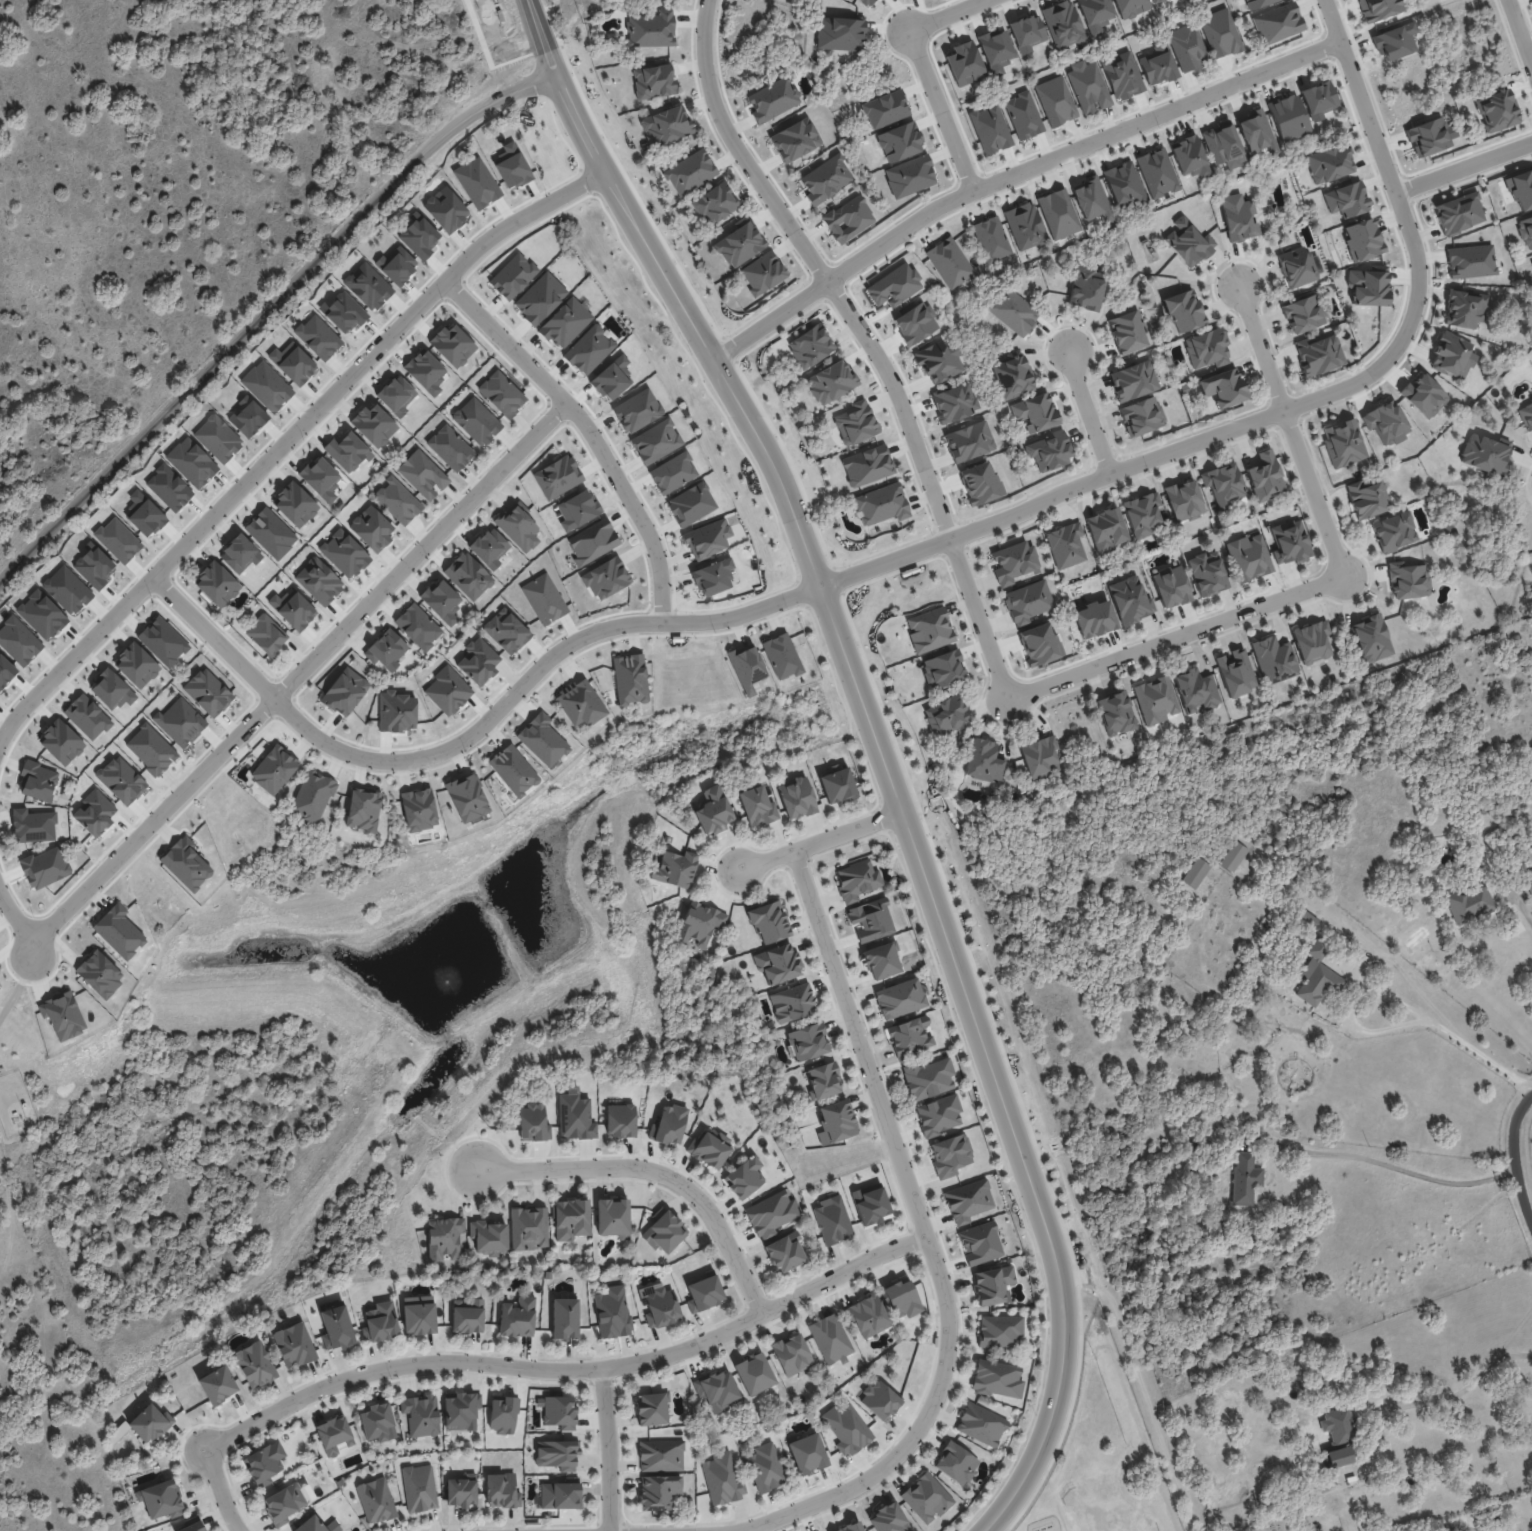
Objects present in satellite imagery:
building: (1156, 1)
building: (865, 2)
building: (1256, 3)
building: (1130, 7)
building: (1378, 9)
building: (1095, 15)
building: (1277, 23)
building: (1063, 24)
building: (652, 29)
road: (538, 31)
building: (840, 33)
building: (1027, 33)
building: (1220, 33)
road: (1517, 40)
building: (1395, 41)
building: (1187, 47)
building: (995, 50)
building: (964, 63)
building: (1156, 64)
road: (922, 73)
building: (1122, 75)
building: (653, 81)
building: (1088, 87)
building: (773, 99)
building: (1318, 99)
building: (1055, 100)
building: (885, 109)
building: (1496, 110)
building: (1023, 115)
building: (1288, 118)
building: (666, 126)
building: (989, 127)
building: (1256, 133)
building: (1428, 137)
building: (795, 140)
building: (899, 142)
building: (1223, 145)
road: (735, 151)
building: (1189, 157)
building: (1329, 163)
building: (511, 166)
road: (1464, 167)
building: (690, 172)
building: (1157, 173)
road: (1013, 174)
building: (910, 176)
building: (826, 179)
building: (477, 182)
road: (613, 185)
building: (1123, 186)
building: (1521, 189)
building: (1092, 199)
building: (1346, 199)
building: (715, 203)
building: (446, 209)
building: (1458, 212)
building: (1058, 213)
building: (1238, 218)
building: (848, 219)
building: (1025, 225)
building: (1525, 231)
building: (991, 239)
building: (1362, 240)
building: (1189, 242)
building: (739, 244)
building: (1470, 261)
building: (949, 262)
building: (1531, 263)
building: (1296, 267)
building: (762, 273)
building: (512, 276)
building: (368, 286)
building: (894, 286)
building: (1367, 287)
building: (1086, 288)
building: (540, 298)
building: (1464, 309)
road: (265, 310)
building: (1184, 310)
building: (1013, 311)
building: (1303, 314)
building: (565, 323)
building: (915, 323)
building: (1127, 332)
building: (318, 337)
road: (1262, 342)
building: (453, 344)
building: (810, 346)
building: (1206, 348)
building: (589, 349)
building: (1318, 354)
building: (1452, 355)
building: (939, 360)
building: (293, 363)
street lamp: (1364, 366)
building: (425, 371)
building: (1012, 376)
building: (612, 378)
building: (1133, 381)
building: (831, 382)
building: (266, 386)
building: (1222, 387)
building: (1531, 390)
building: (501, 393)
building: (396, 395)
building: (1424, 395)
building: (954, 402)
road: (1284, 404)
building: (637, 410)
road: (1088, 411)
building: (1035, 412)
building: (1526, 415)
building: (1141, 416)
building: (476, 421)
building: (855, 422)
building: (1385, 422)
building: (373, 425)
road: (588, 427)
road: (288, 432)
building: (218, 438)
building: (655, 441)
building: (969, 441)
building: (1343, 443)
building: (450, 447)
building: (347, 451)
building: (1048, 451)
building: (1485, 453)
building: (190, 462)
building: (867, 465)
building: (672, 473)
building: (423, 474)
building: (1265, 476)
building: (557, 477)
building: (320, 478)
building: (980, 483)
road: (931, 484)
building: (1224, 484)
road: (1313, 488)
building: (1367, 498)
building: (397, 500)
building: (1184, 500)
building: (295, 504)
building: (691, 504)
building: (881, 504)
building: (577, 509)
building: (1143, 514)
building: (518, 526)
building: (371, 528)
building: (1106, 529)
building: (1394, 531)
building: (707, 539)
building: (118, 540)
building: (1289, 541)
building: (592, 542)
building: (1066, 545)
building: (489, 547)
road: (421, 549)
building: (239, 553)
building: (344, 553)
building: (1248, 557)
building: (1013, 562)
building: (1207, 573)
building: (468, 576)
building: (713, 577)
building: (606, 578)
building: (1408, 580)
building: (318, 581)
building: (217, 584)
building: (1171, 586)
building: (544, 599)
building: (1130, 600)
building: (441, 601)
building: (1027, 601)
building: (294, 609)
building: (1094, 618)
building: (418, 626)
building: (929, 629)
building: (506, 631)
building: (266, 634)
road: (1173, 636)
building: (1371, 638)
building: (18, 641)
building: (1312, 641)
building: (1040, 643)
building: (386, 649)
building: (781, 656)
building: (1274, 659)
building: (136, 665)
building: (746, 668)
building: (943, 669)
building: (1235, 672)
building: (630, 679)
building: (111, 690)
building: (1196, 690)
building: (344, 691)
building: (208, 692)
building: (1155, 700)
building: (580, 703)
building: (1116, 713)
building: (87, 716)
building: (946, 716)
building: (180, 722)
road: (470, 739)
building: (542, 740)
building: (61, 742)
building: (1040, 757)
building: (984, 761)
building: (273, 769)
building: (513, 770)
building: (37, 780)
building: (838, 786)
building: (312, 796)
building: (467, 797)
building: (796, 797)
building: (757, 806)
building: (418, 809)
building: (363, 810)
building: (717, 810)
road: (155, 817)
road: (819, 841)
building: (1234, 857)
building: (185, 864)
building: (44, 867)
building: (680, 869)
building: (1196, 873)
building: (856, 880)
building: (1529, 887)
building: (1468, 905)
road: (1522, 905)
road: (934, 913)
road: (11, 917)
building: (1308, 918)
building: (871, 919)
building: (769, 922)
building: (701, 925)
building: (118, 931)
building: (882, 959)
building: (777, 963)
building: (99, 974)
building: (1318, 975)
building: (899, 998)
building: (798, 1003)
road: (1352, 1006)
building: (62, 1014)
building: (908, 1036)
building: (808, 1041)
road: (1479, 1053)
building: (928, 1078)
building: (823, 1081)
building: (939, 1115)
building: (577, 1118)
building: (625, 1120)
building: (836, 1122)
building: (533, 1123)
building: (670, 1124)
building: (711, 1149)
building: (950, 1155)
road: (1513, 1160)
road: (1381, 1161)
road: (656, 1173)
building: (406, 1175)
building: (1244, 1178)
building: (747, 1179)
building: (968, 1201)
building: (876, 1204)
building: (772, 1213)
building: (612, 1217)
building: (571, 1219)
building: (836, 1221)
building: (528, 1228)
building: (664, 1232)
building: (444, 1238)
building: (488, 1238)
road: (928, 1239)
building: (980, 1243)
building: (784, 1252)
building: (551, 1275)
building: (993, 1285)
building: (646, 1292)
building: (703, 1293)
building: (902, 1299)
building: (646, 1301)
building: (664, 1310)
building: (615, 1314)
building: (867, 1315)
building: (469, 1316)
building: (422, 1317)
building: (520, 1317)
building: (567, 1319)
building: (384, 1323)
building: (339, 1330)
building: (1000, 1331)
building: (830, 1339)
building: (940, 1341)
building: (297, 1345)
building: (791, 1354)
building: (257, 1365)
road: (524, 1367)
building: (753, 1373)
building: (997, 1378)
building: (220, 1385)
building: (716, 1390)
road: (1463, 1390)
road: (1146, 1396)
building: (879, 1399)
building: (655, 1409)
building: (463, 1412)
building: (564, 1412)
building: (424, 1415)
building: (506, 1415)
road: (1067, 1415)
building: (379, 1422)
building: (153, 1423)
building: (981, 1424)
building: (1338, 1427)
building: (847, 1428)
building: (337, 1434)
road: (607, 1448)
building: (557, 1454)
building: (807, 1454)
building: (660, 1455)
building: (1335, 1457)
building: (956, 1463)
building: (266, 1466)
building: (766, 1467)
building: (1408, 1476)
building: (724, 1480)
building: (419, 1488)
building: (658, 1491)
building: (466, 1492)
building: (504, 1492)
building: (563, 1496)
building: (926, 1497)
building: (165, 1500)
building: (378, 1500)
building: (287, 1504)
building: (888, 1519)
building: (1516, 1521)
building: (316, 1524)
building: (1521, 1525)
building: (196, 1527)
building: (850, 1527)
building: (1454, 1530)

